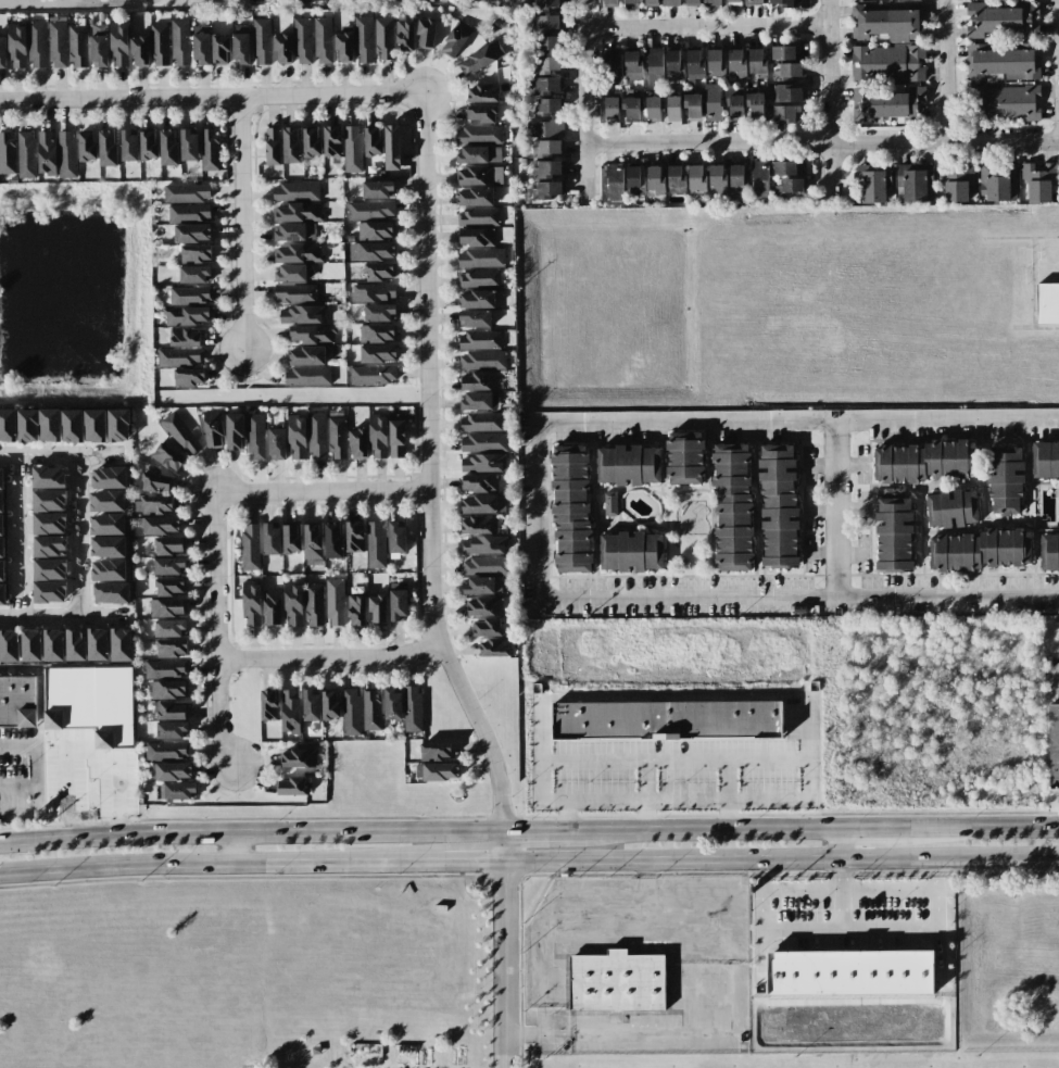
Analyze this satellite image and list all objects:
road: (72, 0)
building: (669, 0)
building: (693, 1)
building: (753, 1)
building: (608, 2)
building: (629, 2)
building: (650, 2)
building: (731, 2)
building: (787, 2)
building: (710, 3)
building: (546, 4)
building: (1003, 20)
building: (547, 22)
building: (887, 22)
building: (497, 24)
road: (705, 26)
building: (200, 29)
building: (426, 32)
building: (404, 35)
building: (383, 37)
building: (364, 38)
building: (324, 39)
building: (455, 39)
building: (262, 40)
building: (303, 40)
building: (179, 42)
building: (547, 42)
building: (37, 43)
building: (56, 43)
building: (118, 45)
building: (159, 45)
building: (343, 45)
building: (16, 46)
building: (77, 46)
building: (99, 46)
building: (240, 47)
building: (282, 47)
building: (201, 49)
building: (219, 49)
building: (139, 50)
building: (2, 52)
building: (783, 52)
building: (480, 58)
building: (1003, 61)
building: (715, 62)
building: (736, 62)
building: (757, 62)
building: (673, 64)
building: (695, 64)
building: (887, 64)
building: (546, 65)
building: (655, 65)
building: (613, 66)
building: (633, 66)
road: (945, 70)
building: (790, 71)
building: (544, 86)
building: (482, 92)
building: (787, 95)
road: (212, 99)
road: (584, 100)
building: (713, 101)
road: (830, 101)
building: (734, 102)
building: (1001, 102)
building: (755, 104)
building: (692, 105)
building: (887, 105)
building: (547, 106)
building: (612, 106)
building: (630, 106)
building: (653, 106)
building: (673, 106)
building: (481, 113)
building: (784, 114)
building: (545, 129)
building: (478, 134)
building: (332, 140)
building: (373, 140)
building: (312, 141)
road: (822, 141)
building: (291, 143)
building: (148, 145)
building: (87, 146)
building: (128, 146)
building: (189, 146)
building: (273, 146)
building: (168, 147)
building: (391, 147)
building: (106, 148)
building: (353, 148)
building: (546, 148)
building: (210, 149)
building: (7, 152)
building: (46, 152)
building: (26, 154)
building: (66, 154)
building: (479, 154)
building: (546, 168)
building: (786, 168)
building: (479, 175)
building: (718, 175)
building: (736, 175)
building: (634, 178)
building: (676, 178)
building: (656, 179)
building: (696, 179)
building: (759, 179)
building: (1037, 180)
building: (615, 181)
building: (915, 184)
building: (957, 184)
building: (996, 184)
building: (870, 186)
building: (789, 187)
building: (378, 188)
building: (546, 190)
building: (295, 191)
building: (186, 193)
building: (475, 196)
building: (370, 209)
building: (189, 212)
building: (298, 212)
building: (478, 215)
road: (243, 226)
building: (375, 230)
building: (294, 231)
building: (192, 233)
building: (475, 237)
building: (371, 251)
building: (196, 253)
building: (299, 253)
building: (481, 257)
building: (379, 272)
building: (294, 273)
building: (194, 274)
building: (478, 278)
building: (373, 292)
building: (294, 293)
building: (190, 294)
building: (476, 299)
building: (1047, 303)
building: (379, 312)
building: (301, 314)
building: (187, 315)
building: (474, 318)
building: (377, 332)
building: (312, 334)
building: (185, 337)
building: (479, 340)
building: (377, 353)
building: (178, 356)
building: (306, 356)
building: (482, 360)
building: (373, 374)
building: (306, 376)
building: (189, 377)
building: (474, 381)
building: (477, 401)
road: (947, 418)
road: (603, 420)
building: (481, 422)
building: (8, 425)
building: (38, 425)
building: (72, 425)
building: (94, 425)
building: (118, 425)
building: (213, 429)
building: (234, 431)
building: (180, 434)
building: (316, 436)
building: (377, 436)
building: (255, 437)
building: (297, 437)
building: (337, 437)
building: (396, 438)
building: (357, 442)
building: (483, 442)
building: (277, 443)
road: (58, 455)
building: (167, 457)
building: (684, 457)
building: (1045, 460)
building: (922, 461)
building: (481, 463)
building: (627, 465)
road: (428, 470)
building: (48, 477)
building: (109, 477)
building: (1005, 480)
building: (156, 481)
building: (479, 482)
building: (1, 490)
road: (322, 493)
building: (49, 501)
building: (106, 501)
building: (156, 504)
building: (482, 504)
building: (609, 504)
building: (778, 504)
building: (732, 507)
building: (951, 508)
building: (570, 510)
building: (49, 523)
building: (108, 524)
building: (478, 524)
building: (1, 525)
building: (159, 525)
building: (893, 530)
building: (354, 536)
road: (77, 537)
building: (290, 538)
building: (396, 538)
building: (270, 539)
building: (332, 540)
building: (312, 544)
building: (375, 544)
building: (483, 544)
building: (49, 545)
building: (168, 545)
building: (108, 546)
building: (250, 546)
building: (1, 548)
building: (980, 550)
building: (630, 551)
building: (1049, 552)
building: (168, 565)
building: (486, 565)
building: (49, 569)
building: (1, 570)
building: (109, 570)
building: (169, 586)
building: (479, 586)
building: (49, 592)
building: (112, 592)
building: (2, 593)
road: (774, 594)
road: (853, 595)
road: (965, 596)
building: (335, 602)
building: (251, 604)
building: (292, 604)
building: (313, 604)
building: (398, 605)
building: (483, 606)
building: (167, 607)
building: (272, 607)
building: (378, 608)
building: (356, 610)
road: (62, 618)
building: (487, 627)
building: (169, 628)
road: (218, 633)
building: (53, 644)
building: (75, 644)
building: (97, 644)
building: (121, 644)
building: (9, 645)
building: (30, 645)
building: (172, 648)
building: (494, 648)
road: (329, 661)
building: (165, 668)
building: (167, 689)
building: (17, 702)
building: (91, 703)
building: (329, 704)
building: (392, 704)
building: (268, 705)
building: (311, 705)
building: (370, 708)
building: (412, 708)
building: (171, 711)
building: (290, 711)
building: (351, 712)
building: (667, 719)
building: (172, 729)
building: (1054, 745)
building: (167, 750)
building: (434, 751)
building: (298, 758)
road: (33, 766)
building: (173, 770)
building: (440, 771)
building: (292, 787)
building: (177, 791)
road: (646, 802)
road: (643, 817)
road: (817, 830)
road: (538, 832)
road: (250, 833)
road: (840, 844)
road: (232, 849)
road: (780, 859)
road: (471, 862)
road: (220, 864)
road: (937, 871)
road: (761, 872)
road: (888, 889)
road: (815, 890)
road: (504, 950)
building: (850, 972)
crop: (243, 975)
building: (617, 982)
road: (726, 992)
road: (526, 1033)

